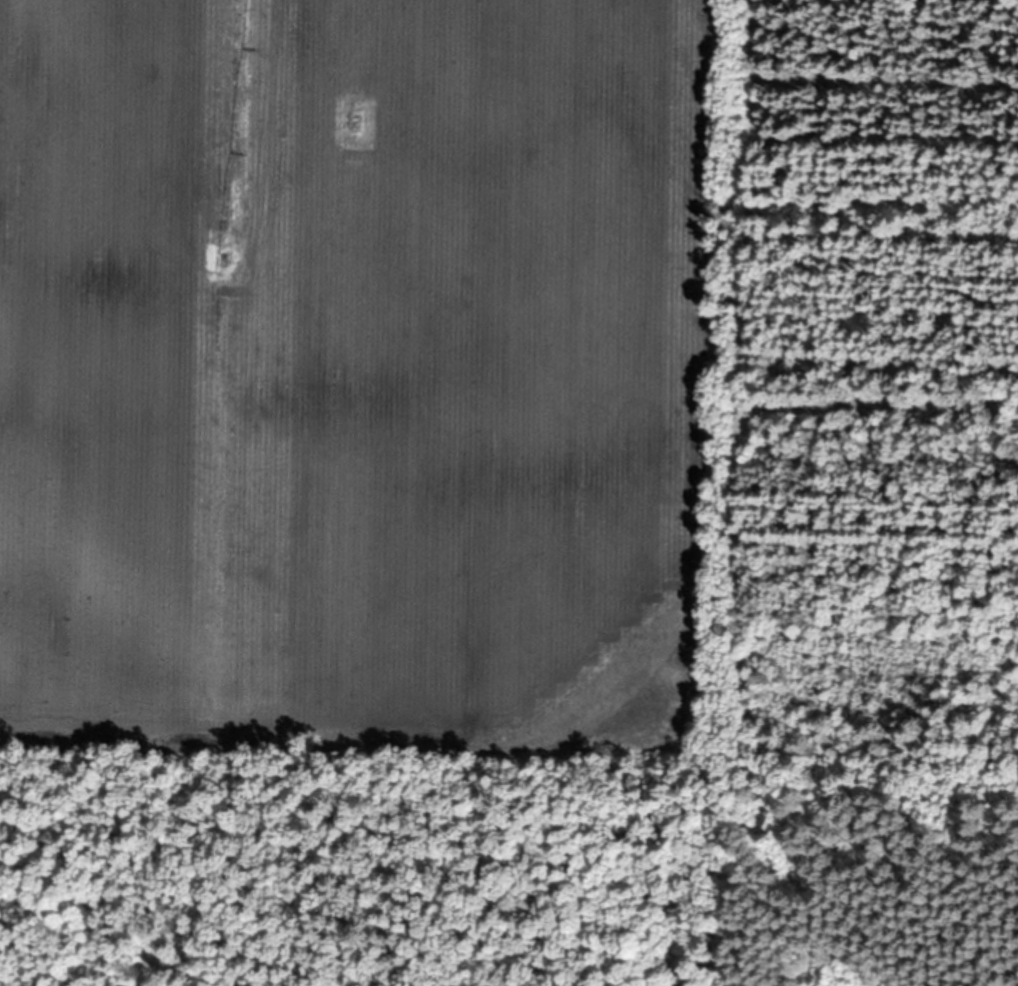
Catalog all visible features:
crop: (362, 367)

